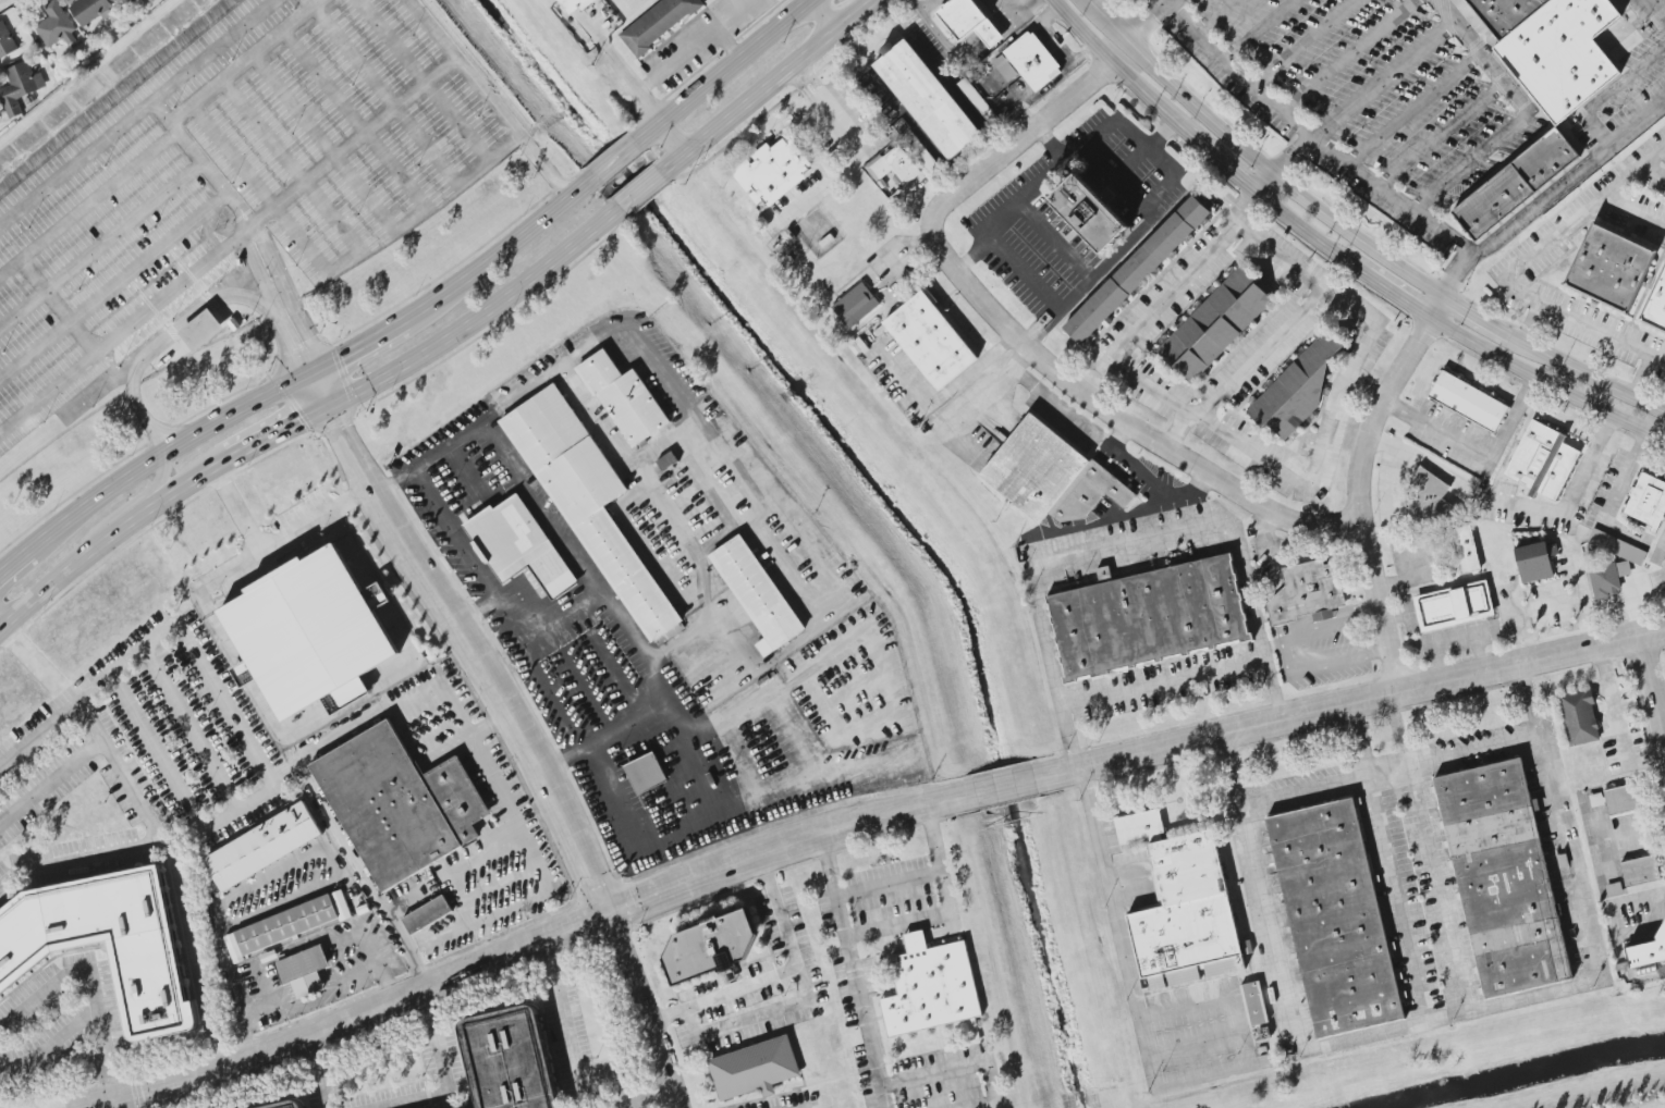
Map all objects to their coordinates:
road: (363, 1)
road: (1160, 2)
road: (307, 3)
road: (314, 3)
road: (916, 3)
road: (922, 3)
building: (573, 5)
road: (1065, 9)
building: (89, 10)
road: (824, 12)
road: (1020, 14)
road: (1213, 15)
road: (1149, 16)
building: (969, 22)
building: (658, 23)
road: (1117, 23)
road: (1009, 24)
building: (57, 27)
road: (1258, 30)
road: (993, 38)
road: (727, 40)
road: (1094, 41)
building: (7, 42)
road: (1303, 44)
road: (948, 46)
building: (1553, 48)
road: (217, 50)
road: (609, 50)
road: (680, 54)
road: (1348, 56)
building: (1033, 61)
road: (1150, 62)
road: (241, 63)
road: (461, 69)
road: (721, 69)
building: (1005, 69)
road: (425, 81)
road: (764, 86)
building: (21, 87)
building: (971, 94)
road: (1612, 95)
road: (1361, 98)
building: (928, 99)
road: (1160, 104)
road: (1415, 111)
road: (1525, 114)
road: (357, 121)
road: (409, 125)
road: (1442, 136)
road: (1313, 138)
road: (672, 139)
road: (327, 143)
road: (856, 146)
road: (1055, 146)
road: (1146, 150)
building: (921, 152)
road: (613, 159)
road: (77, 163)
road: (544, 164)
building: (894, 165)
road: (292, 169)
road: (1233, 169)
building: (773, 172)
road: (1654, 173)
building: (1511, 184)
parking lot: (231, 186)
road: (261, 189)
road: (640, 193)
road: (1299, 195)
road: (1550, 195)
road: (228, 197)
road: (88, 202)
road: (1635, 212)
road: (1582, 213)
building: (1086, 217)
road: (265, 224)
road: (1318, 238)
road: (254, 239)
road: (100, 245)
road: (1057, 245)
road: (237, 246)
road: (225, 248)
road: (1000, 249)
road: (500, 250)
road: (976, 256)
building: (1604, 262)
building: (1135, 269)
road: (448, 271)
road: (237, 274)
road: (112, 285)
road: (292, 286)
building: (1655, 298)
road: (252, 299)
road: (1406, 300)
building: (856, 306)
road: (60, 307)
road: (188, 312)
road: (1476, 315)
road: (479, 317)
road: (1580, 322)
building: (1215, 324)
building: (201, 330)
road: (298, 337)
road: (1024, 338)
building: (931, 340)
road: (360, 344)
road: (169, 345)
road: (1261, 353)
road: (142, 361)
road: (117, 366)
traffic signals: (314, 371)
road: (1582, 373)
road: (1645, 379)
building: (1301, 382)
road: (1548, 382)
road: (1363, 390)
building: (623, 398)
road: (975, 401)
building: (1468, 402)
road: (209, 406)
traffic signals: (330, 406)
road: (237, 411)
road: (280, 431)
road: (1177, 431)
road: (1477, 450)
road: (1250, 451)
building: (1542, 461)
road: (730, 466)
road: (464, 468)
road: (524, 468)
building: (1051, 475)
road: (394, 479)
road: (1200, 483)
road: (1361, 484)
road: (183, 487)
road: (155, 489)
road: (1572, 494)
road: (1618, 496)
building: (1430, 498)
road: (356, 500)
building: (1648, 501)
road: (1166, 502)
building: (588, 504)
road: (234, 509)
road: (79, 512)
road: (1399, 518)
building: (518, 545)
road: (1131, 546)
building: (1617, 546)
road: (261, 547)
building: (1466, 550)
building: (1660, 551)
road: (684, 559)
building: (1535, 561)
road: (66, 574)
building: (1607, 578)
building: (1307, 591)
building: (757, 593)
road: (1548, 604)
building: (1454, 605)
building: (1148, 617)
road: (1411, 625)
road: (181, 629)
building: (313, 633)
road: (465, 640)
road: (1457, 640)
road: (1285, 655)
road: (1165, 685)
road: (1653, 687)
road: (671, 693)
road: (1351, 702)
road: (1612, 709)
road: (737, 713)
building: (1579, 716)
road: (1663, 717)
road: (54, 719)
road: (489, 724)
road: (192, 728)
road: (1395, 731)
road: (1361, 739)
road: (1389, 772)
building: (646, 774)
road: (768, 781)
road: (52, 784)
road: (1002, 786)
building: (1616, 799)
building: (399, 804)
road: (629, 830)
road: (784, 845)
building: (262, 847)
road: (532, 852)
road: (81, 854)
building: (1640, 871)
road: (175, 873)
building: (1503, 878)
road: (890, 885)
building: (1614, 889)
road: (1438, 890)
road: (1399, 899)
building: (1182, 907)
building: (363, 909)
road: (950, 910)
traffic signals: (611, 913)
building: (427, 915)
building: (1334, 919)
road: (229, 925)
building: (287, 925)
road: (918, 940)
building: (710, 947)
road: (296, 951)
building: (1648, 951)
building: (269, 956)
road: (415, 958)
road: (853, 958)
building: (304, 971)
building: (149, 974)
road: (91, 986)
building: (930, 987)
road: (724, 995)
road: (805, 995)
building: (1254, 1004)
road: (648, 1009)
road: (1448, 1017)
road: (350, 1018)
road: (1195, 1044)
road: (577, 1046)
road: (1149, 1056)
building: (510, 1062)
road: (963, 1066)
building: (755, 1069)
road: (322, 1070)
road: (883, 1096)
traffic signals: (110, 1100)
building: (291, 1106)

